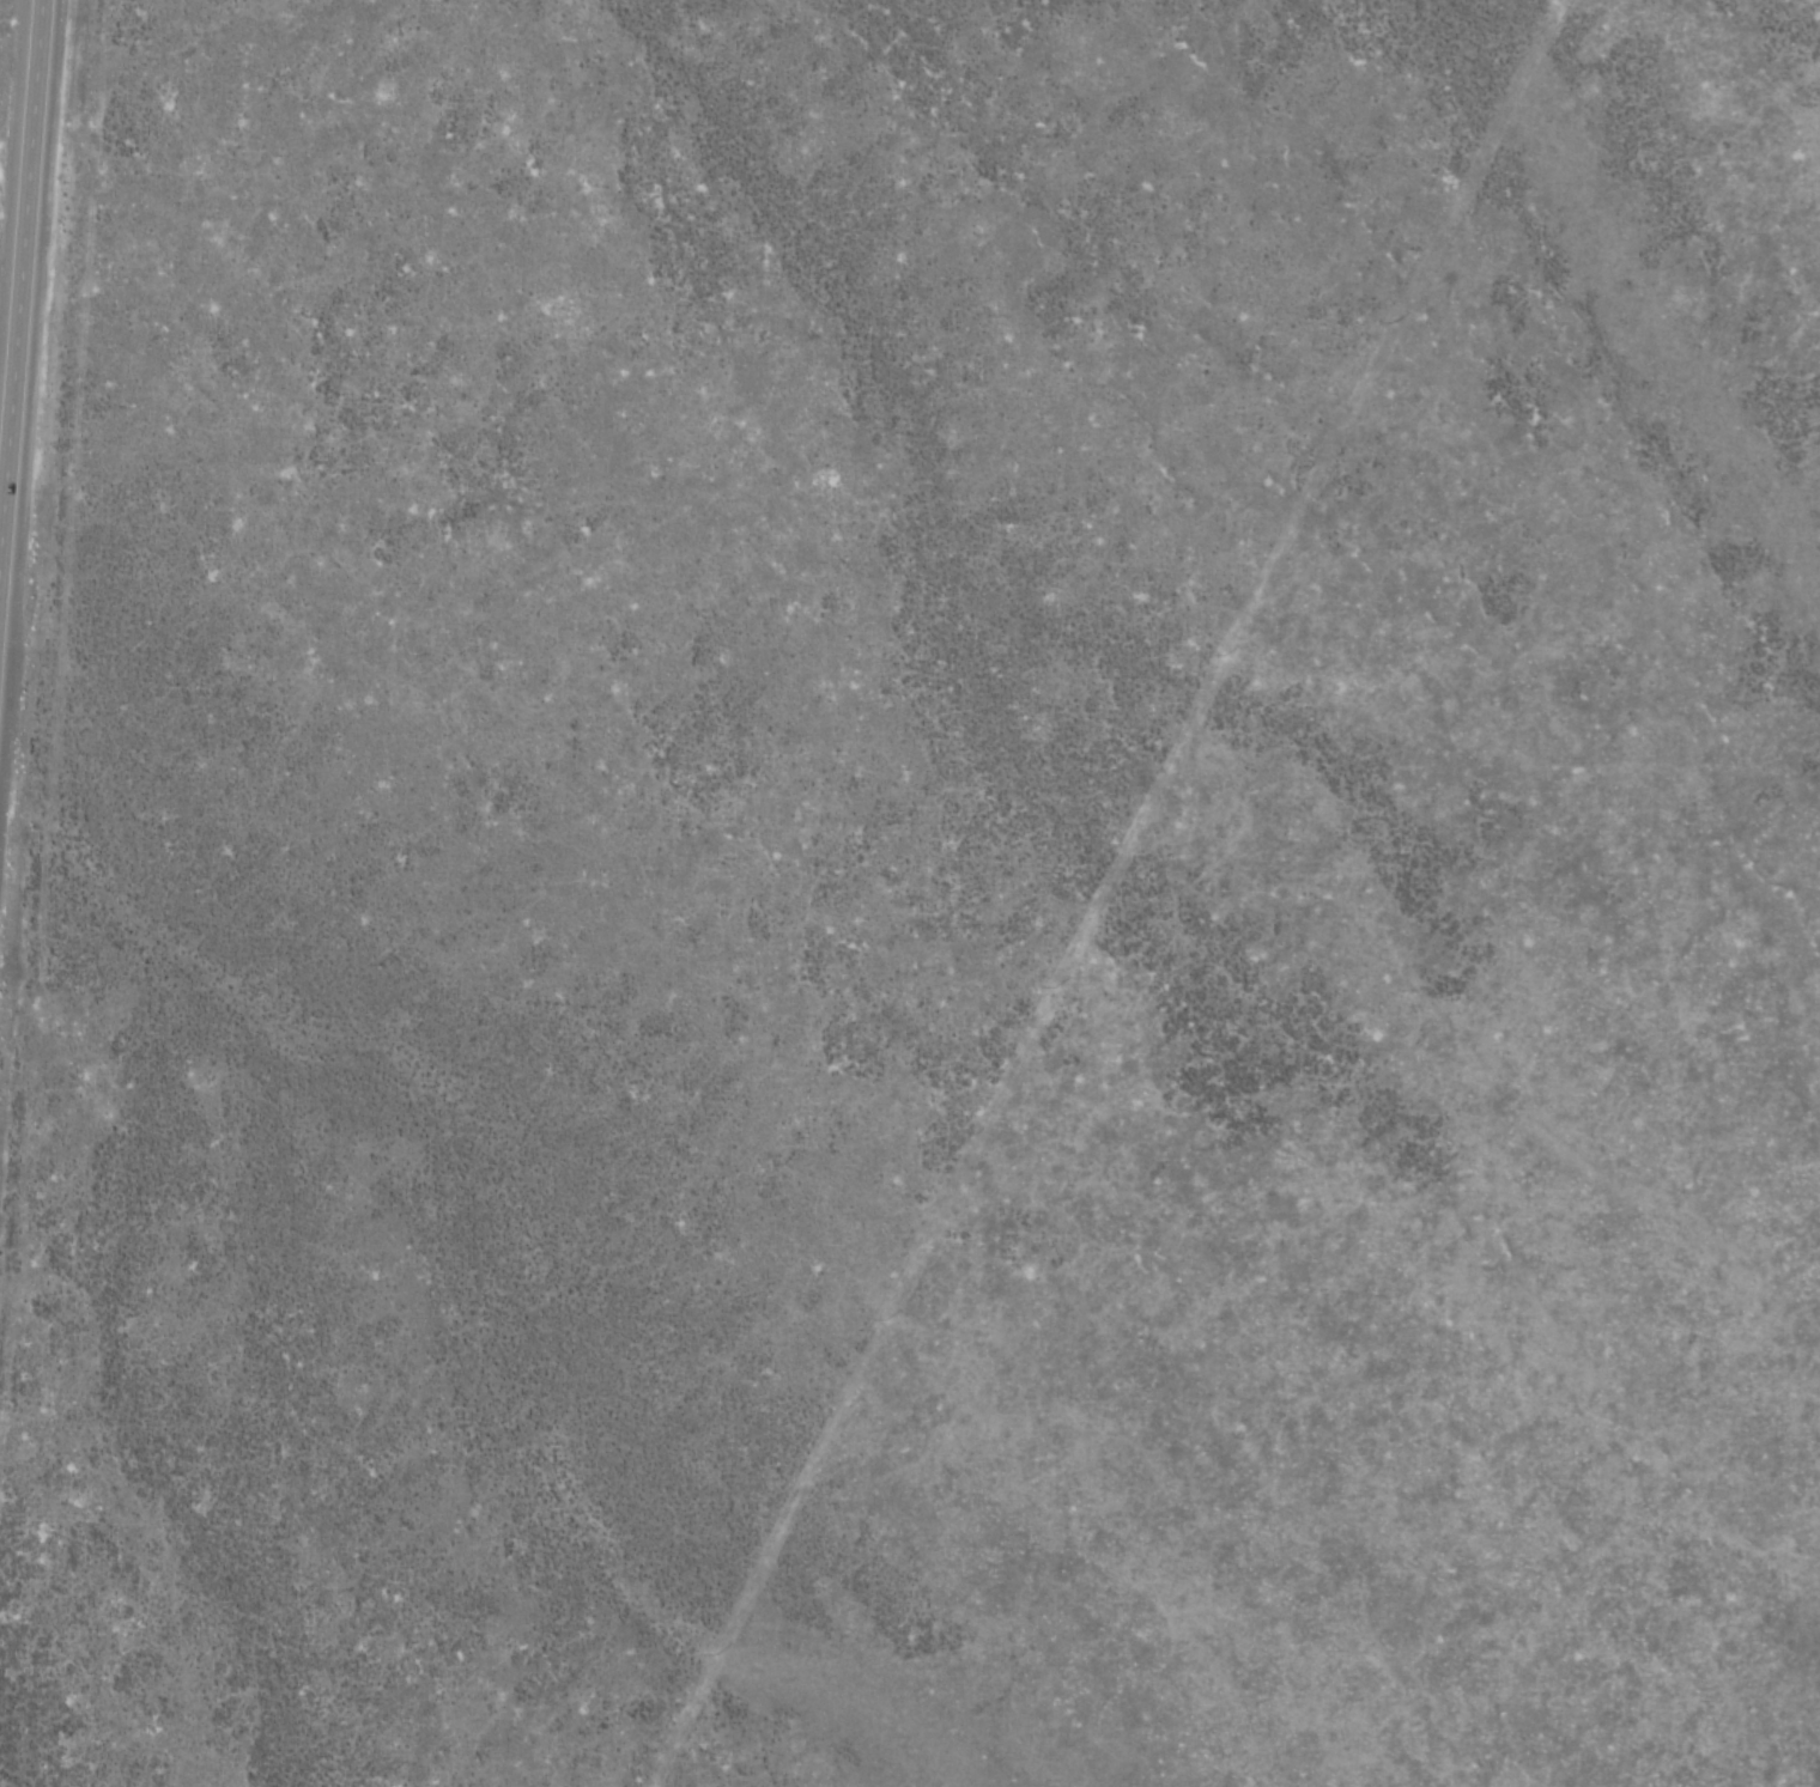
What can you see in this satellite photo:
road: (18, 241)

